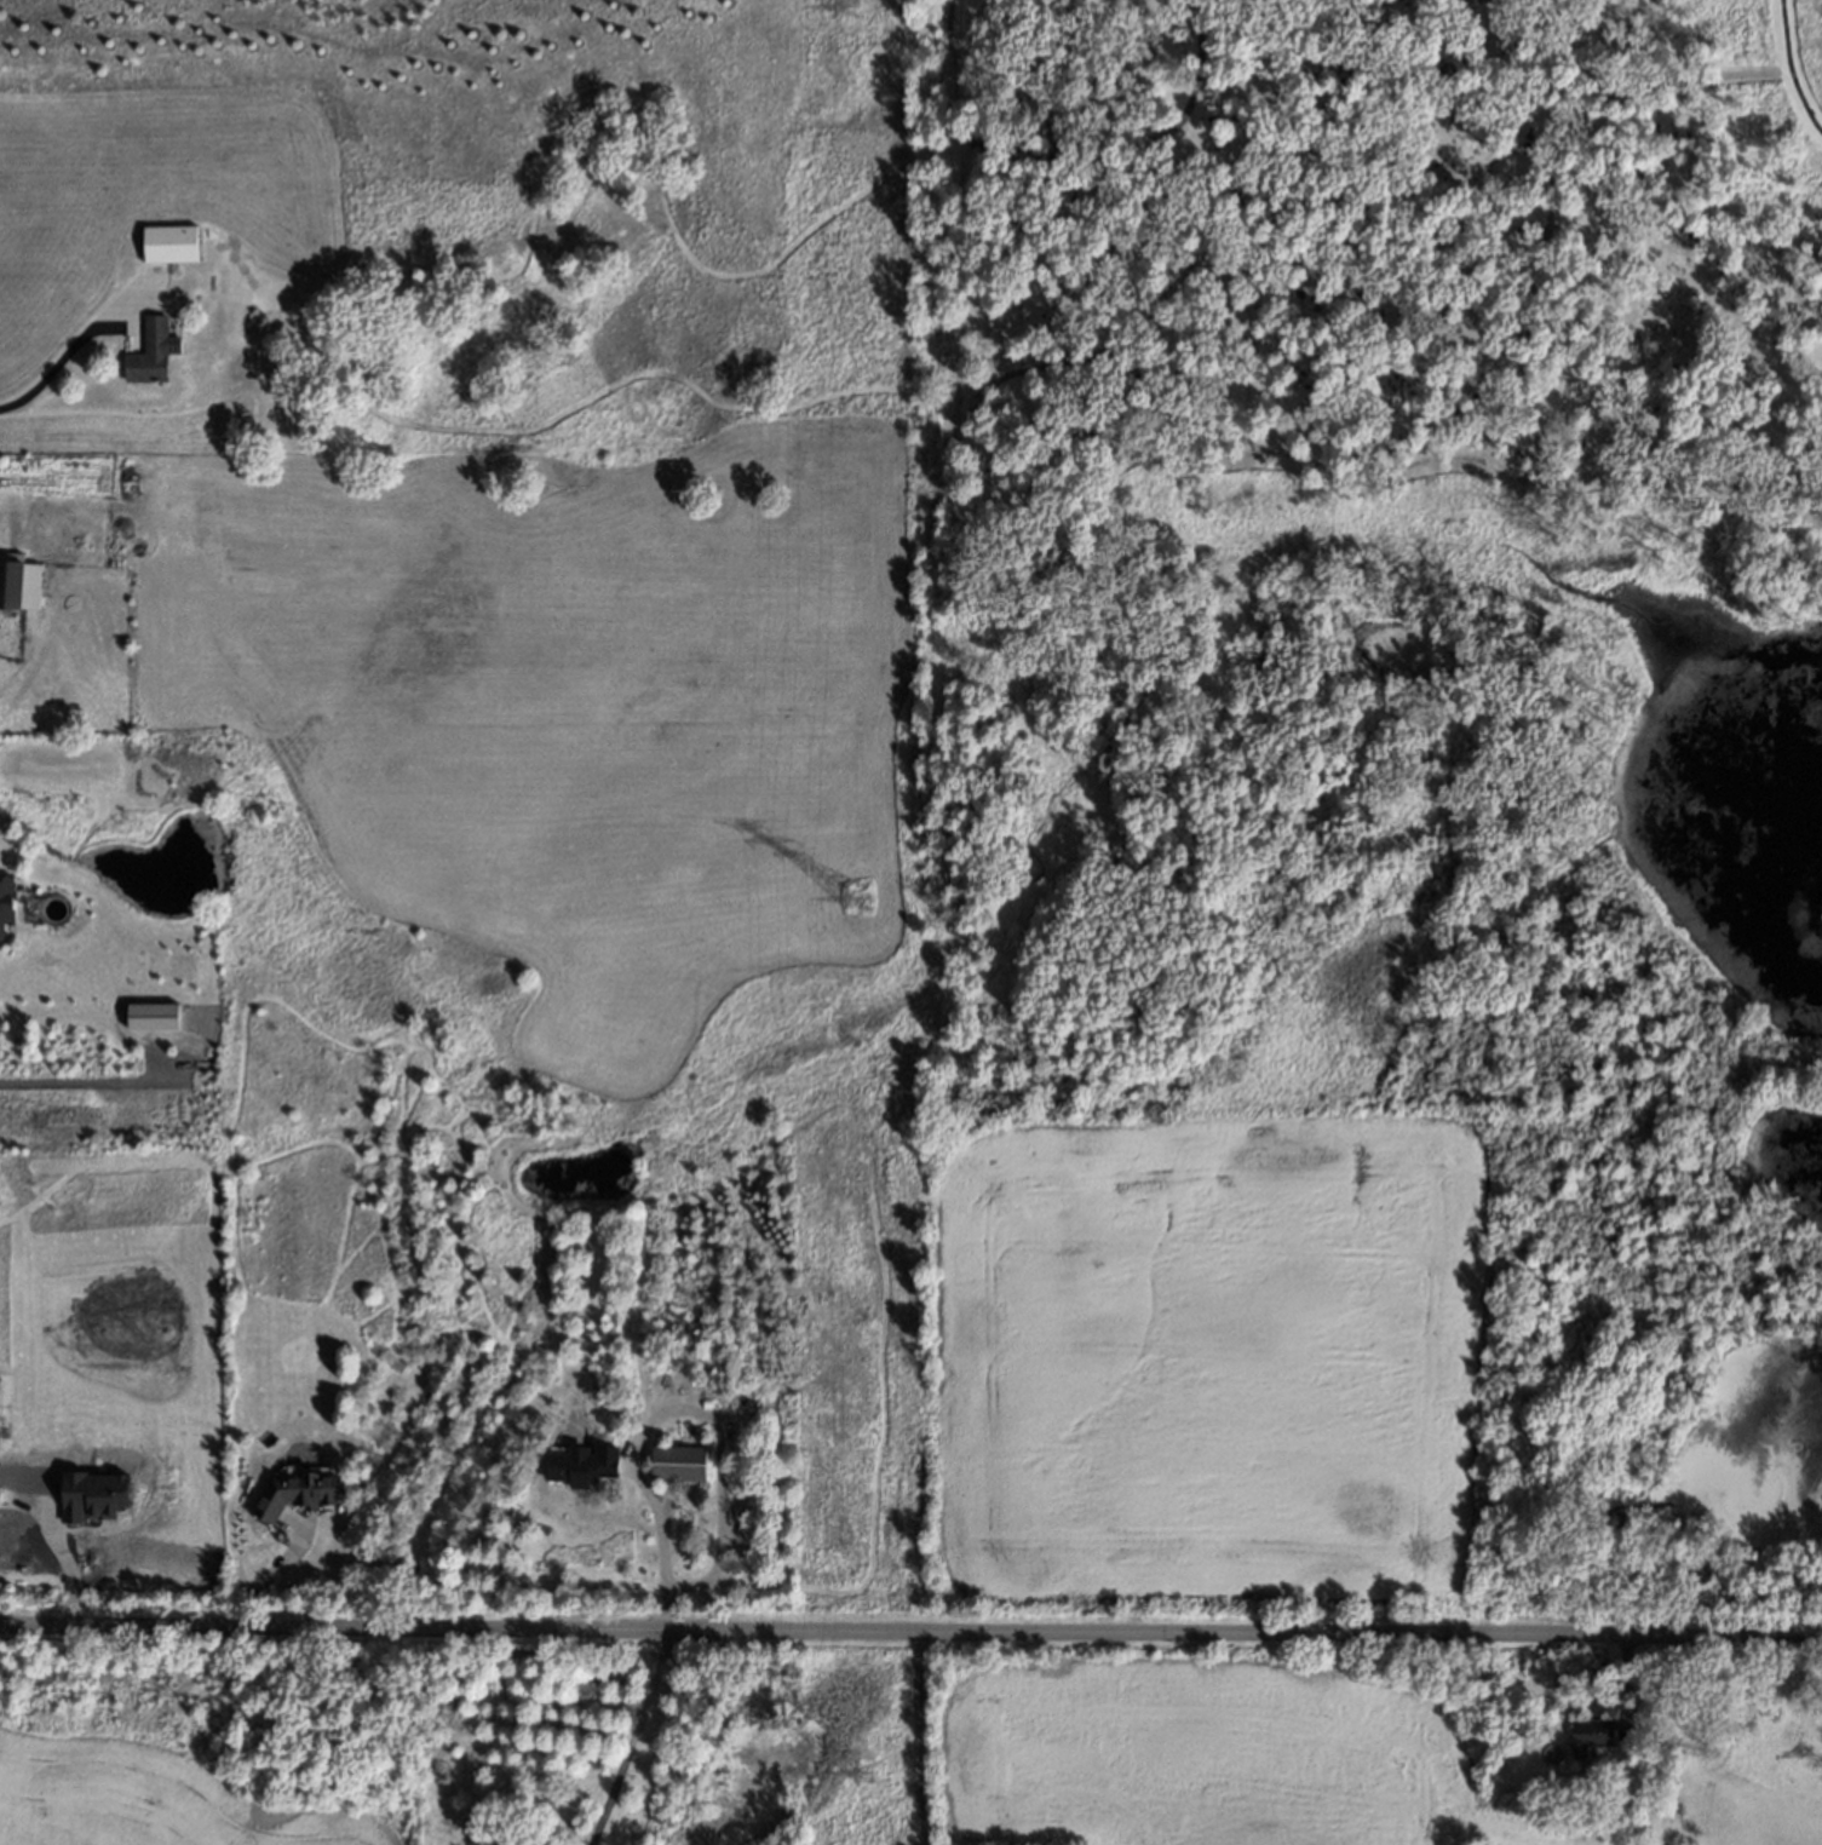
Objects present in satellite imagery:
power tower: (850, 13)
road: (1786, 69)
building: (171, 246)
building: (151, 355)
road: (48, 369)
building: (19, 585)
building: (6, 899)
power tower: (860, 902)
building: (151, 1017)
building: (392, 1367)
road: (666, 1407)
building: (677, 1465)
building: (295, 1493)
road: (270, 1567)
road: (910, 1634)
building: (1586, 1731)
road: (628, 1740)
power tower: (872, 1783)

